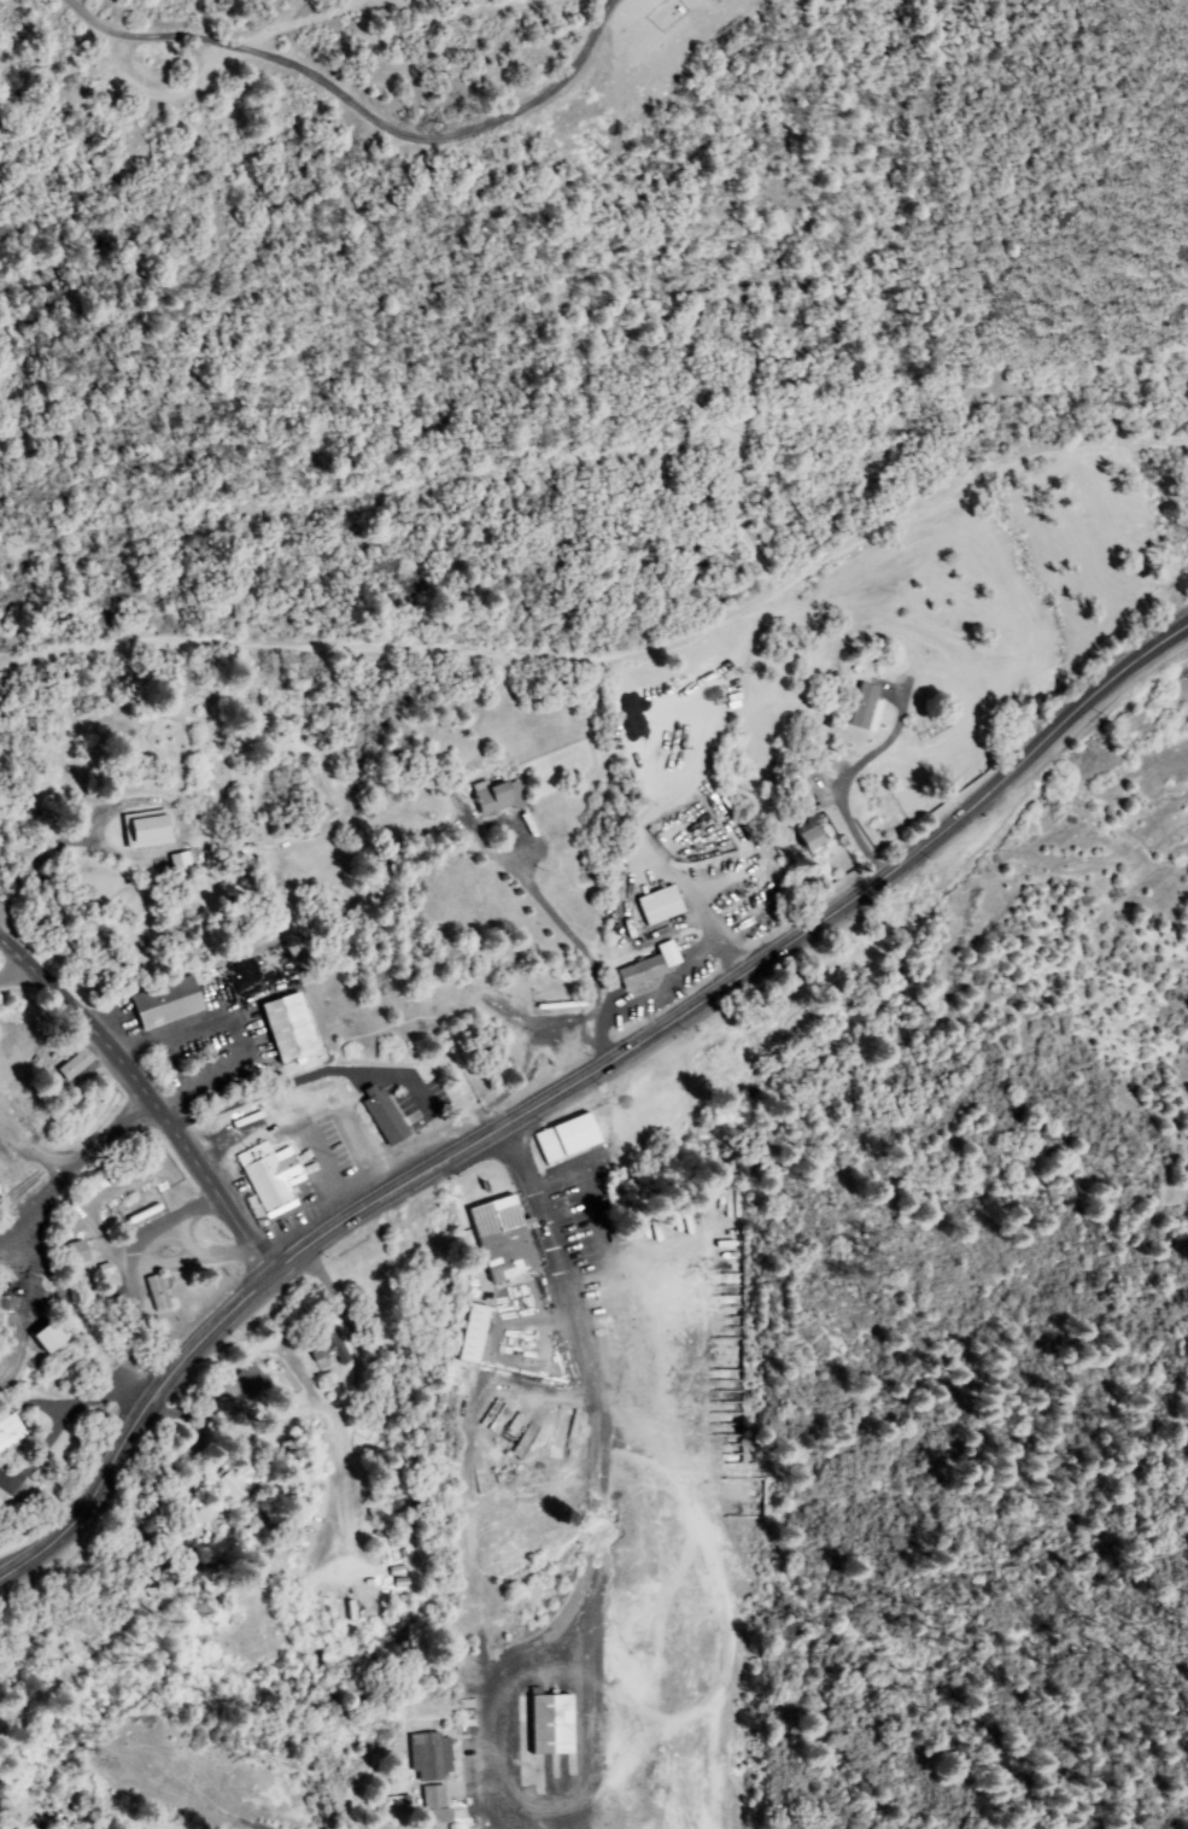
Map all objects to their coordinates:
road: (277, 34)
road: (616, 655)
road: (1123, 671)
building: (867, 707)
building: (785, 724)
building: (821, 771)
road: (842, 776)
building: (450, 781)
building: (796, 785)
building: (499, 797)
building: (457, 799)
building: (446, 808)
building: (791, 810)
building: (147, 831)
building: (812, 836)
building: (183, 861)
building: (661, 906)
building: (634, 916)
building: (681, 948)
road: (580, 952)
road: (10, 954)
building: (643, 972)
building: (166, 1004)
building: (562, 1005)
building: (289, 1029)
building: (76, 1065)
road: (206, 1081)
road: (147, 1088)
building: (385, 1117)
road: (507, 1122)
building: (572, 1139)
road: (71, 1161)
building: (273, 1181)
road: (526, 1215)
building: (504, 1239)
building: (78, 1255)
building: (159, 1293)
building: (148, 1295)
building: (474, 1334)
building: (460, 1336)
building: (51, 1337)
building: (37, 1339)
building: (330, 1344)
building: (248, 1387)
road: (82, 1389)
building: (7, 1413)
building: (724, 1430)
building: (7, 1433)
road: (37, 1441)
building: (235, 1484)
building: (737, 1498)
building: (552, 1724)
building: (433, 1758)
building: (435, 1805)

